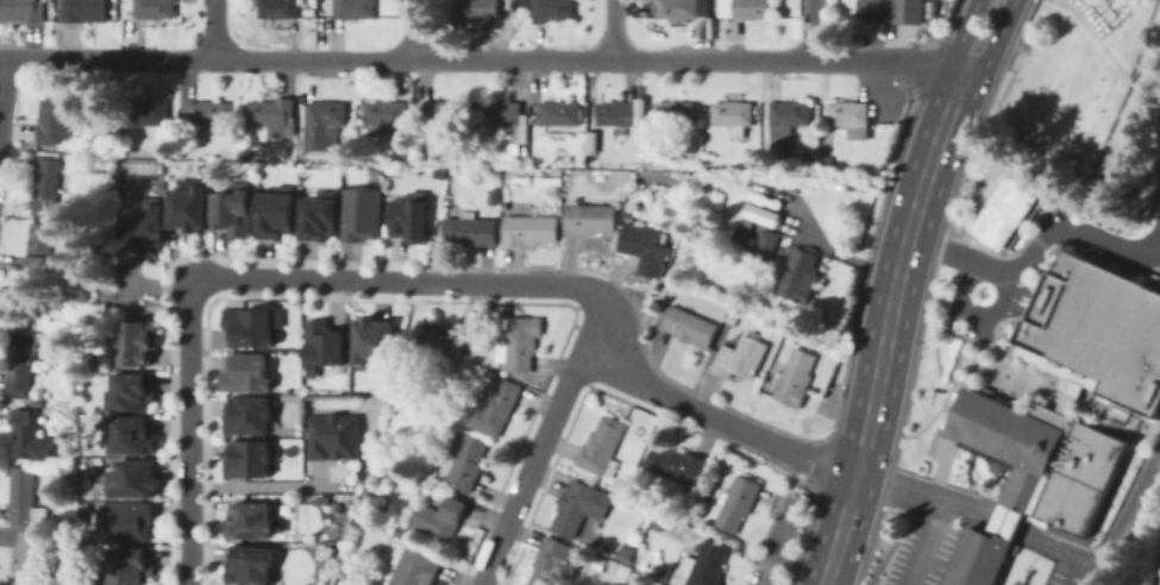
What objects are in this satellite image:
building: (512, 6)
building: (155, 8)
building: (280, 8)
building: (479, 8)
building: (548, 8)
building: (753, 8)
building: (357, 10)
building: (683, 10)
building: (892, 10)
building: (20, 11)
building: (84, 11)
road: (410, 29)
road: (612, 29)
road: (810, 29)
road: (217, 30)
road: (959, 34)
road: (992, 43)
road: (479, 57)
park: (1090, 93)
building: (150, 114)
building: (209, 114)
building: (385, 114)
building: (443, 114)
building: (617, 114)
building: (733, 114)
building: (790, 114)
building: (675, 115)
building: (275, 118)
building: (559, 118)
building: (852, 119)
building: (54, 121)
building: (508, 122)
building: (326, 126)
building: (647, 127)
building: (644, 138)
building: (93, 145)
building: (63, 149)
building: (648, 153)
building: (827, 161)
building: (746, 169)
building: (49, 188)
building: (755, 190)
building: (717, 194)
building: (493, 196)
building: (188, 203)
building: (236, 208)
building: (276, 210)
building: (1005, 210)
building: (362, 213)
building: (759, 213)
building: (319, 215)
building: (409, 215)
building: (629, 218)
building: (589, 219)
building: (143, 225)
building: (470, 229)
building: (529, 229)
building: (744, 237)
road: (1106, 240)
building: (769, 243)
road: (1159, 246)
building: (645, 247)
building: (42, 251)
road: (1033, 253)
road: (958, 254)
building: (797, 275)
road: (576, 285)
building: (669, 288)
road: (983, 290)
building: (731, 320)
building: (253, 325)
building: (690, 327)
road: (885, 327)
building: (1099, 328)
building: (476, 332)
building: (439, 339)
building: (137, 340)
building: (371, 340)
building: (519, 341)
building: (324, 344)
building: (472, 348)
building: (741, 357)
building: (20, 364)
building: (245, 372)
building: (491, 372)
building: (795, 378)
building: (130, 390)
building: (1067, 395)
building: (494, 407)
building: (249, 414)
building: (131, 433)
road: (192, 433)
building: (30, 435)
building: (334, 435)
building: (602, 447)
building: (249, 458)
building: (466, 463)
building: (677, 465)
road: (533, 470)
building: (1027, 476)
building: (132, 478)
road: (263, 485)
road: (923, 491)
building: (25, 498)
building: (736, 502)
building: (579, 507)
building: (440, 517)
building: (125, 520)
building: (250, 520)
building: (402, 528)
road: (927, 542)
road: (777, 543)
road: (1111, 553)
building: (626, 554)
building: (27, 558)
building: (554, 561)
building: (251, 564)
building: (706, 564)
building: (128, 565)
building: (413, 566)
road: (1079, 574)

